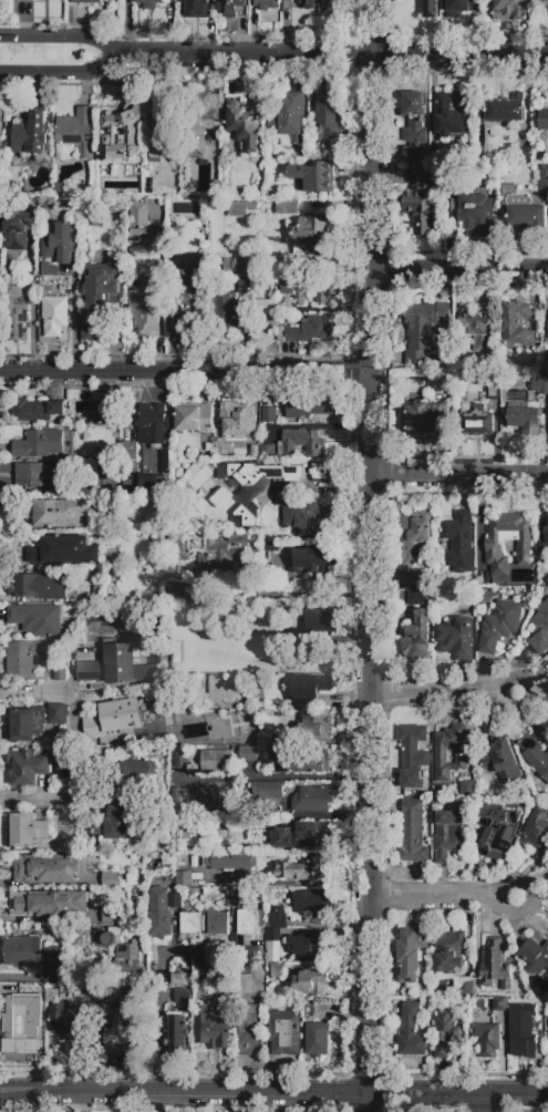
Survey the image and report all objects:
building: (24, 0)
building: (85, 1)
building: (149, 3)
building: (194, 3)
building: (306, 3)
building: (266, 4)
building: (327, 4)
road: (374, 6)
building: (229, 8)
building: (462, 8)
building: (431, 9)
building: (510, 9)
road: (127, 29)
road: (62, 39)
road: (374, 54)
road: (334, 58)
road: (63, 74)
building: (505, 107)
building: (453, 114)
building: (290, 116)
building: (330, 120)
building: (544, 120)
building: (200, 122)
building: (242, 123)
building: (414, 124)
building: (163, 125)
building: (1, 130)
building: (120, 131)
building: (30, 134)
building: (74, 134)
building: (434, 152)
building: (154, 156)
building: (524, 156)
building: (43, 167)
building: (313, 177)
building: (544, 181)
building: (148, 186)
building: (60, 191)
building: (2, 192)
building: (423, 204)
building: (287, 207)
building: (242, 208)
building: (524, 212)
building: (476, 213)
building: (138, 214)
building: (17, 230)
building: (309, 236)
building: (143, 237)
building: (60, 244)
building: (237, 264)
road: (459, 268)
building: (51, 272)
building: (13, 289)
building: (307, 290)
building: (97, 297)
road: (161, 299)
building: (184, 300)
building: (268, 307)
building: (546, 309)
building: (146, 310)
building: (225, 312)
building: (54, 315)
building: (17, 322)
road: (73, 322)
building: (517, 325)
building: (478, 329)
building: (424, 330)
building: (308, 331)
building: (116, 332)
building: (547, 332)
building: (546, 364)
road: (186, 374)
building: (539, 385)
building: (492, 389)
building: (307, 405)
building: (35, 410)
building: (107, 411)
building: (269, 415)
building: (194, 418)
building: (426, 418)
building: (524, 418)
building: (475, 420)
building: (153, 422)
building: (236, 424)
building: (301, 443)
building: (38, 444)
building: (267, 452)
building: (131, 454)
building: (112, 455)
building: (68, 471)
building: (321, 471)
road: (459, 475)
building: (31, 476)
building: (149, 481)
building: (255, 486)
building: (56, 512)
building: (302, 515)
building: (547, 533)
building: (508, 540)
building: (458, 542)
building: (413, 543)
building: (179, 548)
building: (63, 550)
building: (223, 554)
building: (309, 560)
road: (371, 570)
building: (542, 573)
building: (39, 587)
building: (102, 596)
building: (179, 599)
building: (37, 619)
building: (319, 621)
building: (499, 625)
building: (417, 628)
building: (539, 629)
building: (272, 634)
building: (453, 639)
building: (22, 659)
building: (110, 666)
building: (60, 671)
building: (308, 689)
road: (34, 691)
road: (442, 694)
building: (55, 713)
building: (113, 719)
building: (25, 723)
building: (312, 732)
building: (61, 734)
building: (449, 751)
building: (249, 754)
building: (413, 754)
building: (534, 754)
building: (213, 761)
building: (502, 761)
building: (304, 762)
building: (177, 763)
building: (27, 766)
building: (130, 773)
road: (273, 776)
building: (467, 790)
building: (175, 795)
building: (302, 795)
road: (38, 797)
building: (210, 800)
building: (116, 825)
building: (497, 830)
building: (537, 830)
building: (25, 831)
building: (413, 834)
building: (448, 835)
building: (302, 836)
building: (232, 861)
building: (50, 867)
building: (304, 869)
building: (110, 879)
building: (183, 879)
building: (197, 881)
road: (298, 883)
building: (136, 890)
road: (441, 897)
building: (175, 900)
building: (232, 900)
building: (312, 903)
building: (48, 904)
building: (159, 912)
building: (112, 915)
building: (247, 921)
building: (276, 923)
building: (189, 924)
building: (217, 924)
building: (310, 948)
building: (117, 950)
building: (449, 951)
building: (30, 953)
building: (411, 954)
building: (535, 956)
building: (494, 965)
building: (277, 971)
building: (204, 976)
building: (180, 979)
building: (309, 981)
building: (245, 984)
building: (467, 988)
building: (183, 997)
road: (158, 999)
building: (499, 1003)
building: (23, 1015)
building: (70, 1015)
building: (120, 1028)
building: (214, 1029)
building: (523, 1029)
building: (249, 1031)
building: (411, 1031)
building: (445, 1032)
building: (177, 1033)
building: (283, 1033)
building: (486, 1037)
building: (317, 1040)
road: (364, 1069)
road: (273, 1093)
road: (362, 1103)
road: (482, 1103)

